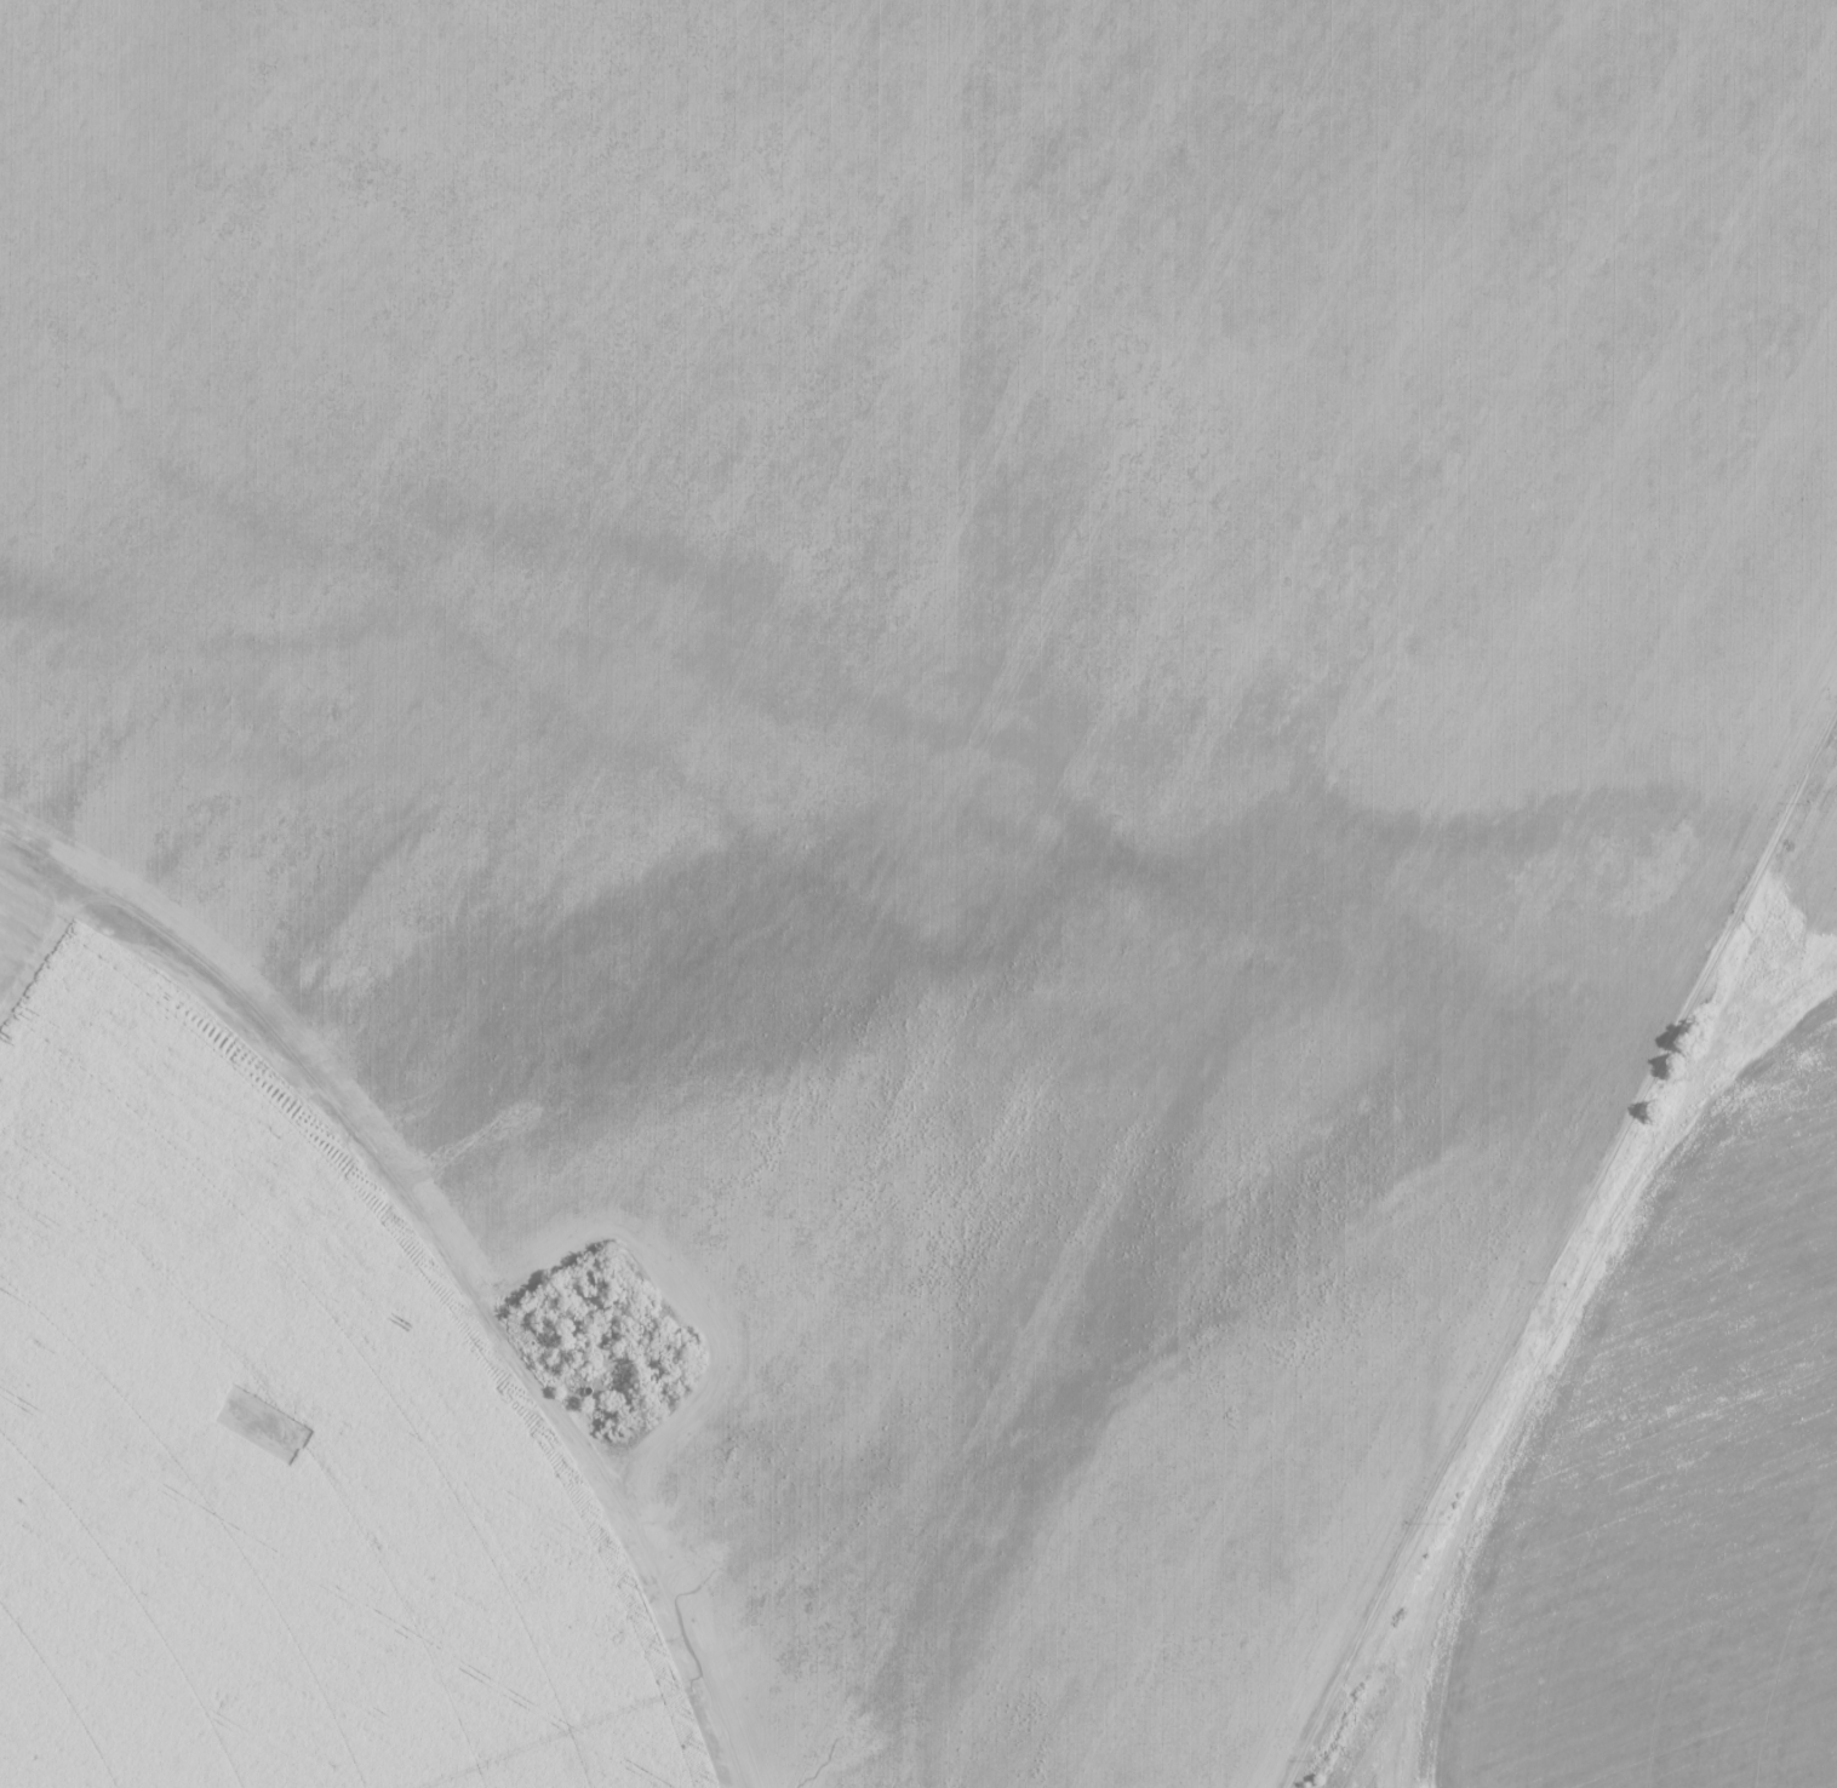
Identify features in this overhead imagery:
road: (1567, 1260)

